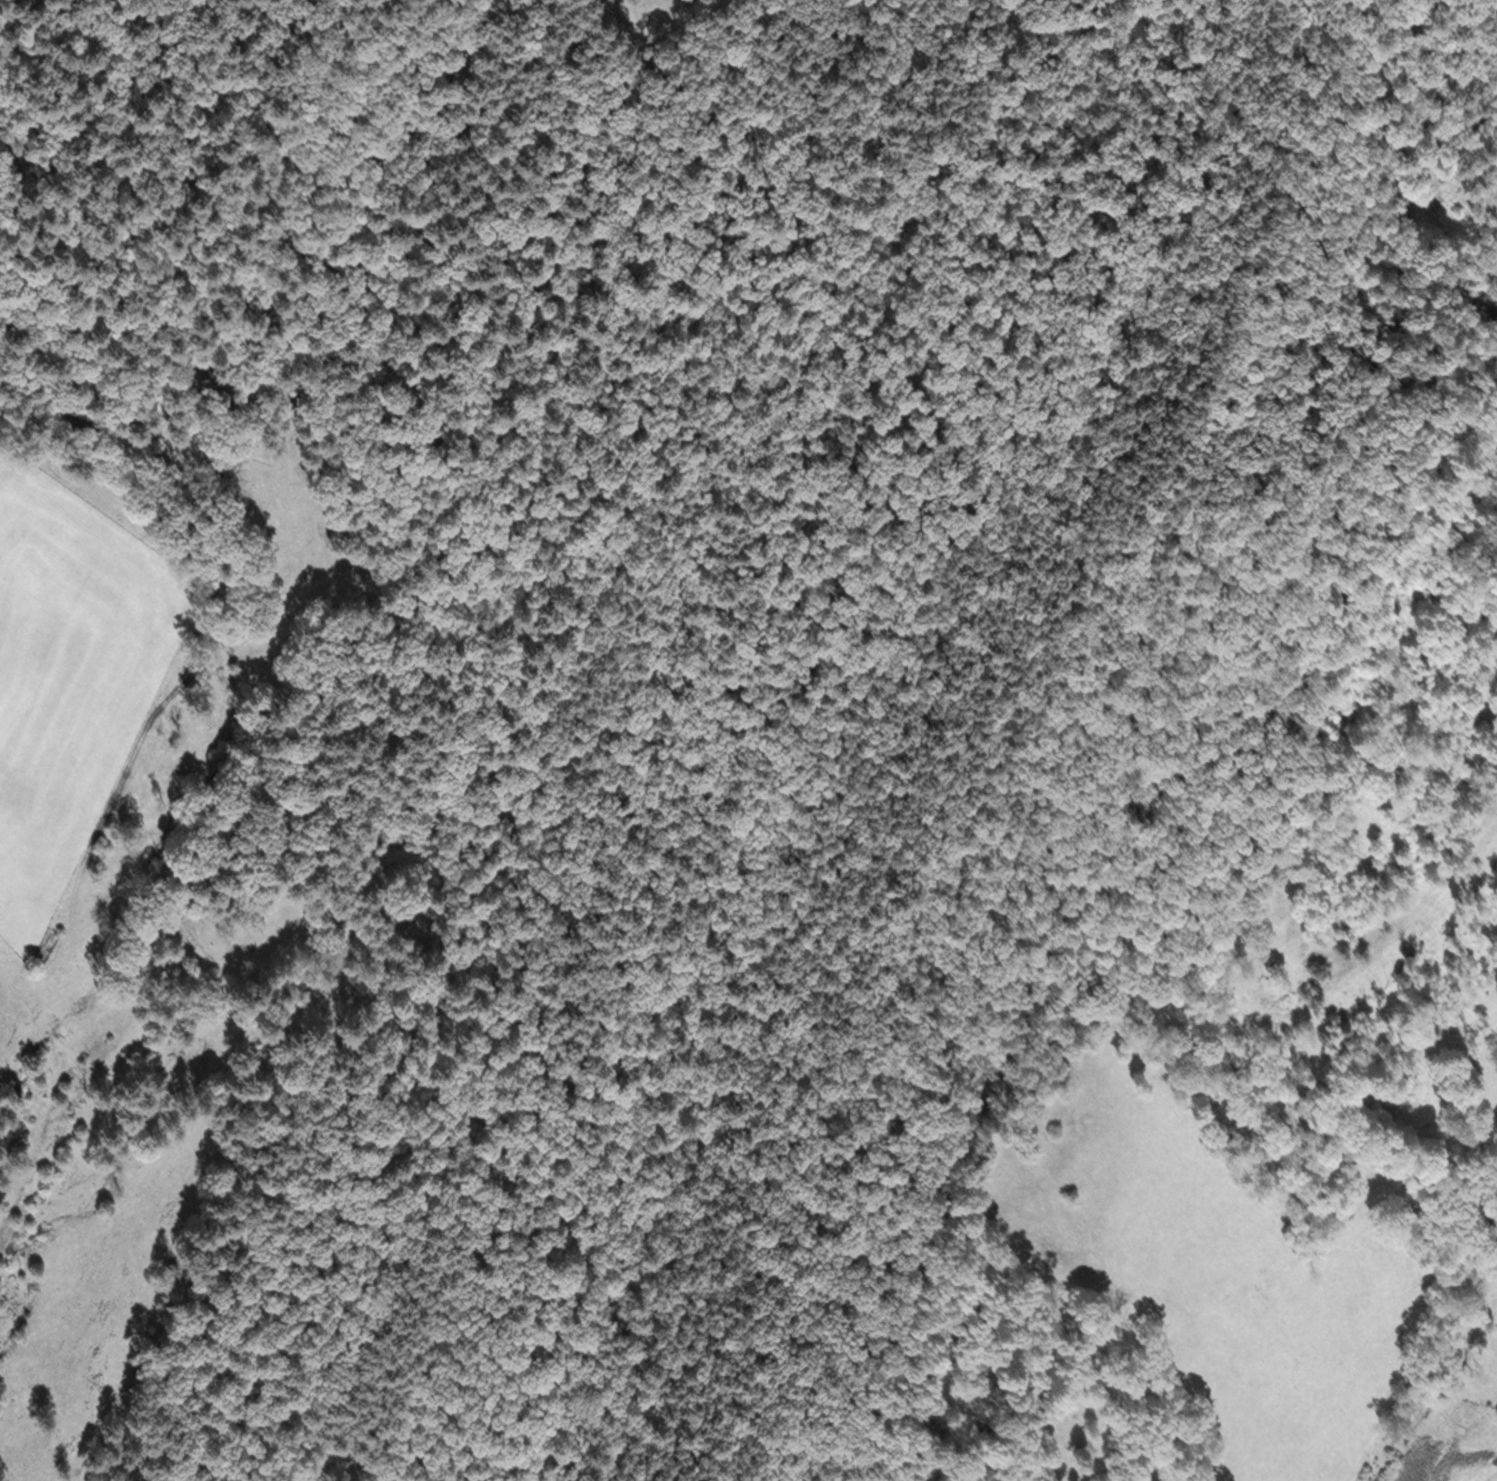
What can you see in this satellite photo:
road: (1466, 250)
road: (1308, 996)

